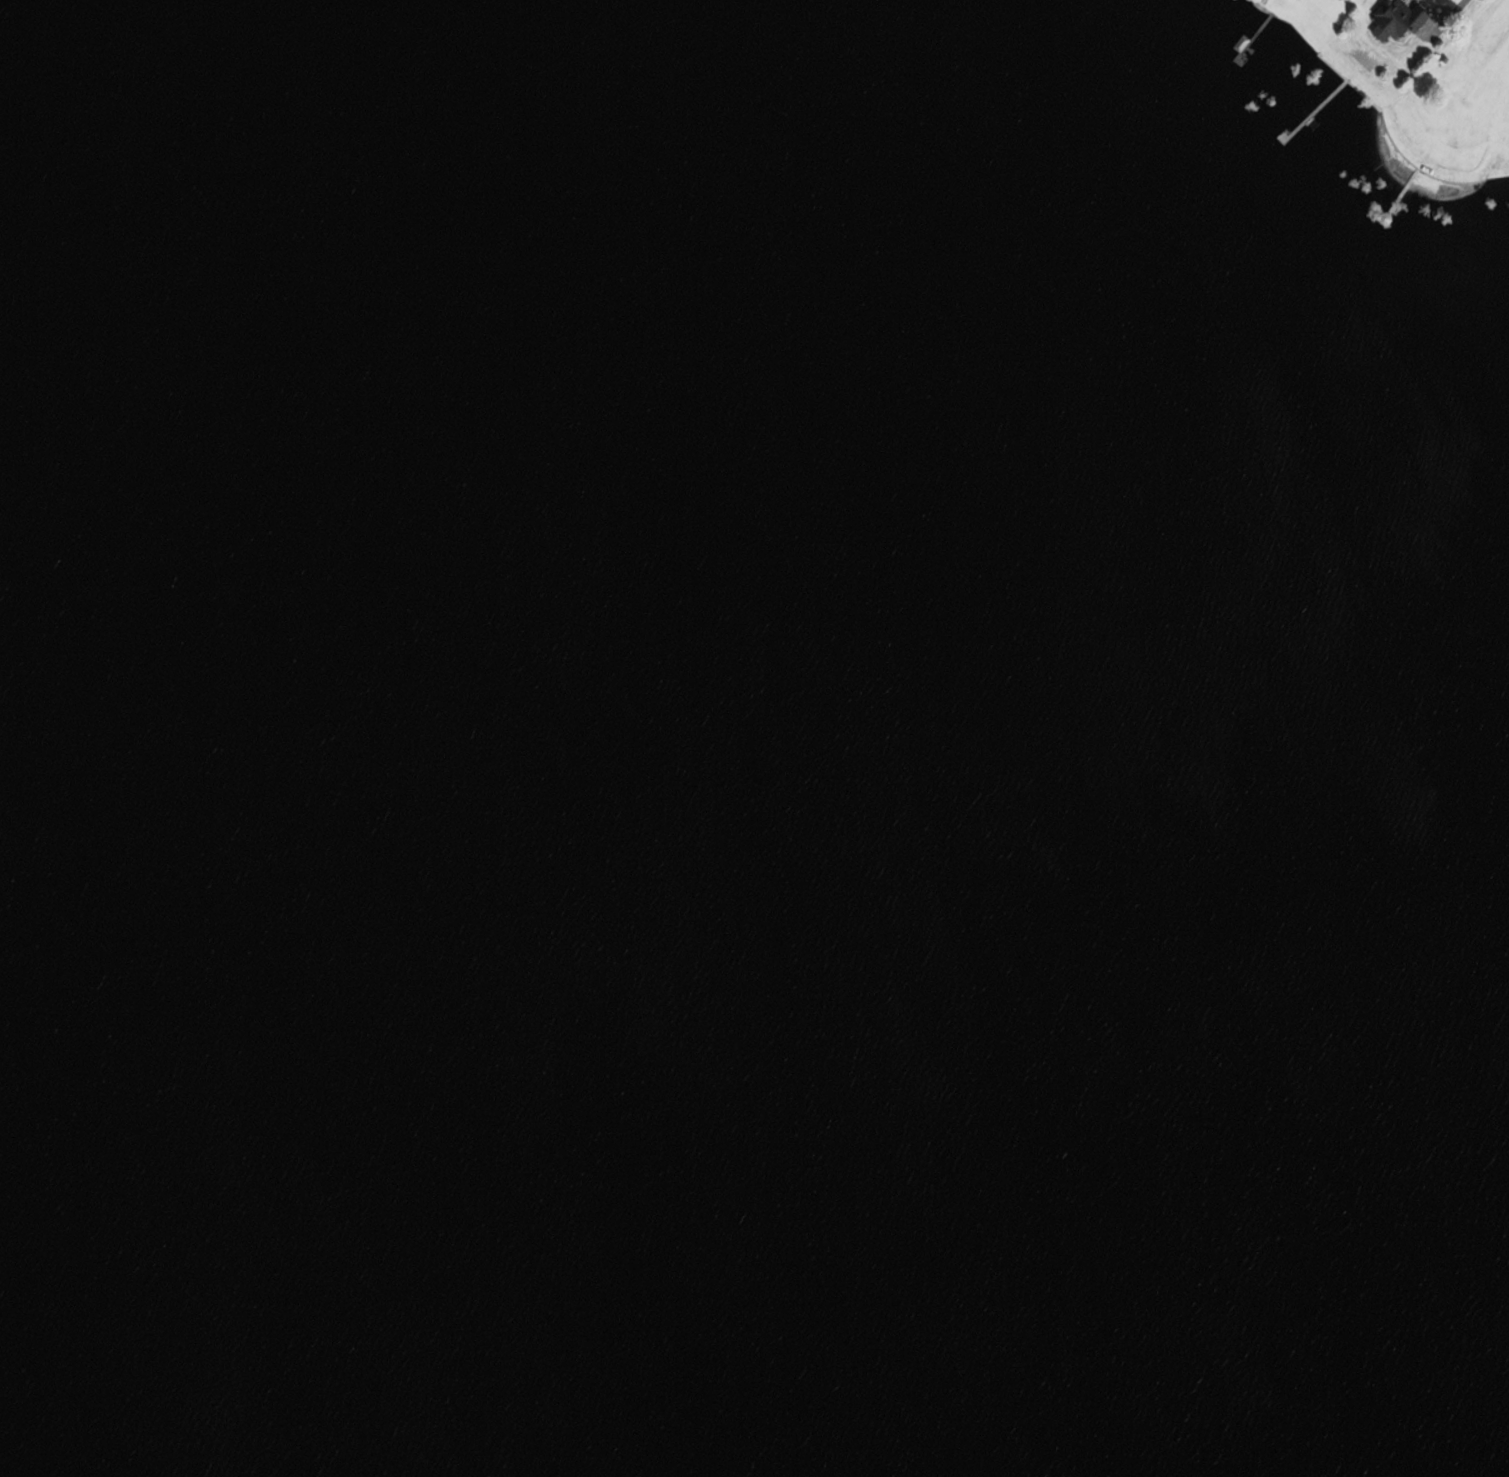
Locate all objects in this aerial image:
building: (1396, 18)
road: (1450, 18)
building: (752, 75)
river: (167, 547)
building: (1473, 884)
river: (592, 955)
river: (984, 1380)

